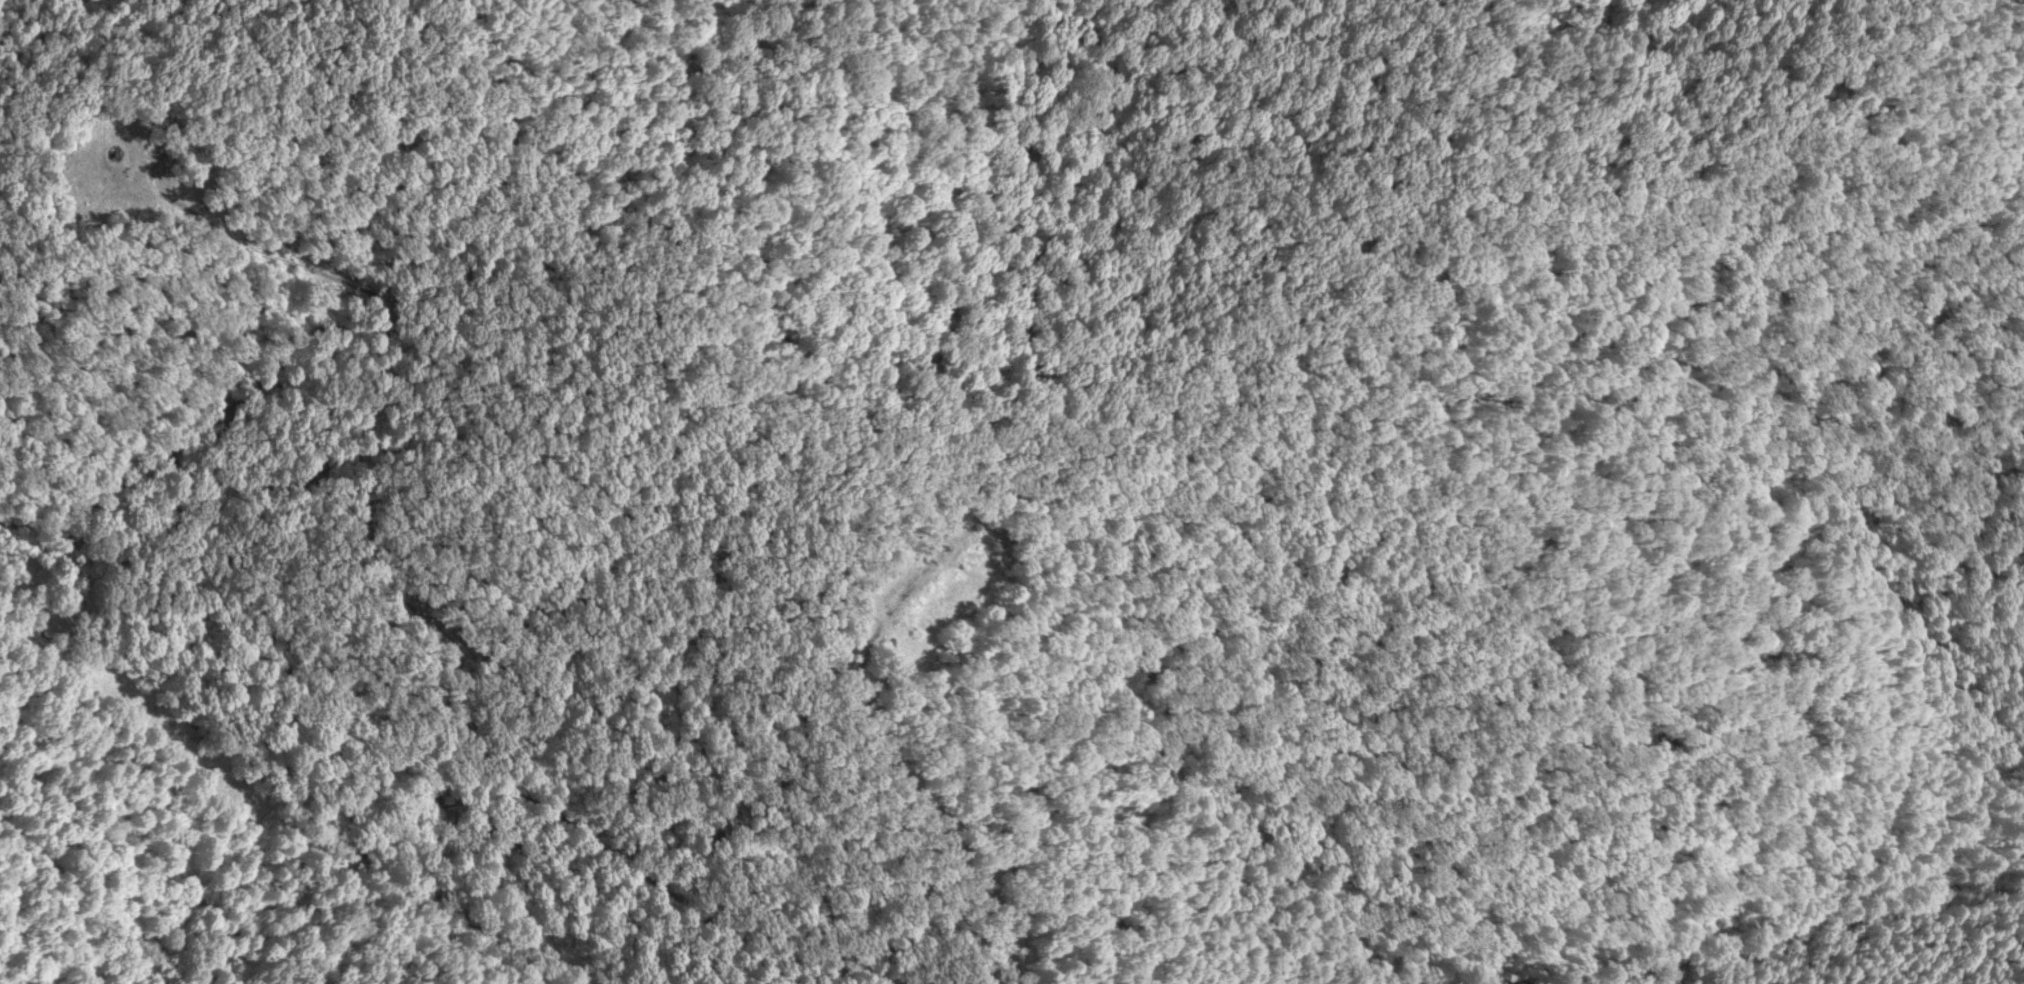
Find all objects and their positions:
building: (1211, 132)
road: (454, 679)
road: (1425, 707)

